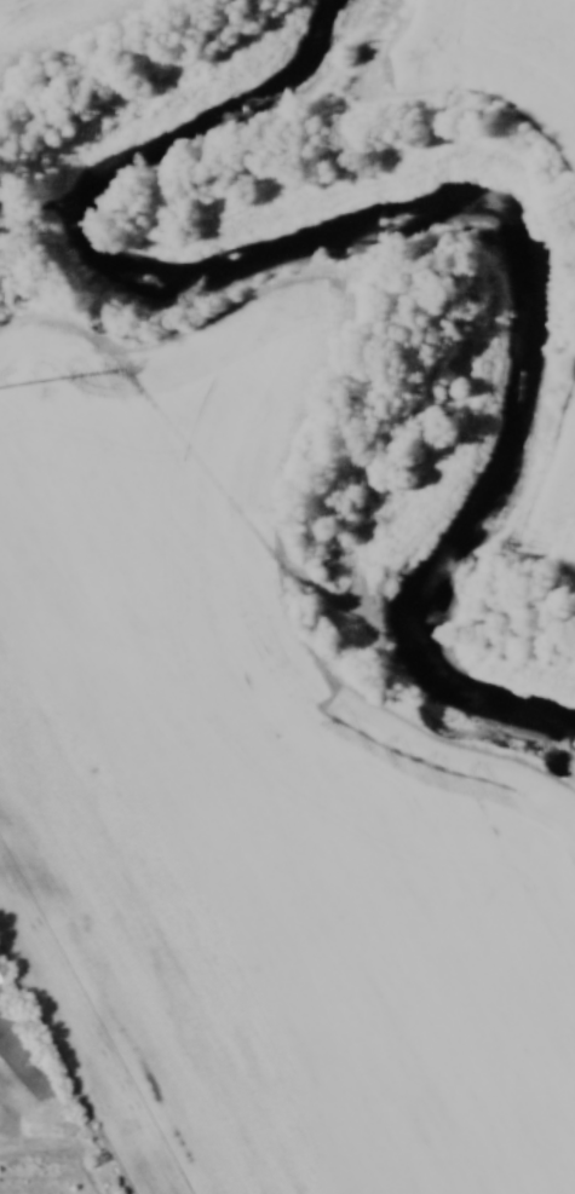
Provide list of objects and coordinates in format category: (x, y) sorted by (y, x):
river: (217, 104)
river: (525, 279)

